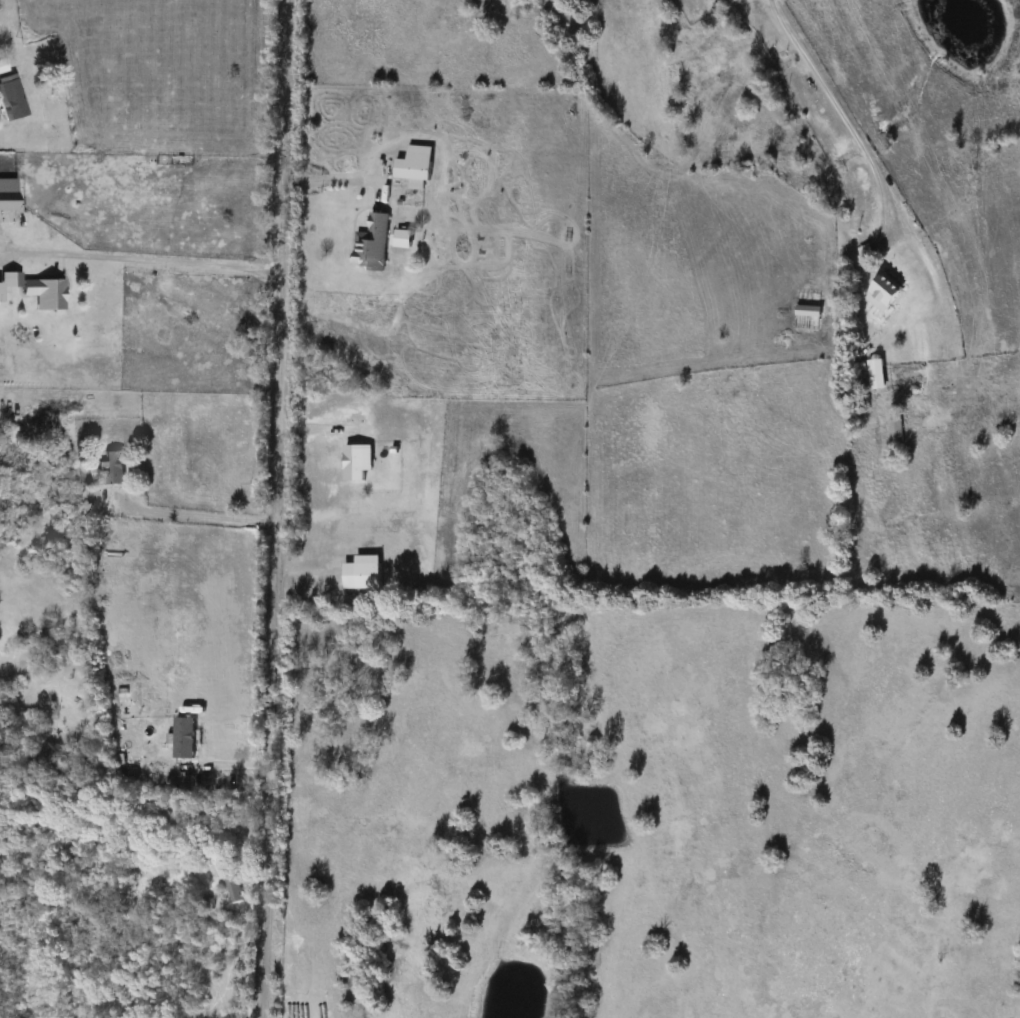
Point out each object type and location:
building: (10, 99)
road: (830, 108)
building: (411, 163)
road: (332, 178)
building: (7, 195)
building: (369, 243)
road: (140, 259)
building: (881, 289)
building: (43, 293)
building: (872, 374)
building: (350, 462)
building: (112, 468)
road: (277, 509)
road: (201, 512)
building: (358, 573)
building: (46, 754)
road: (167, 810)
building: (210, 879)
building: (231, 885)

